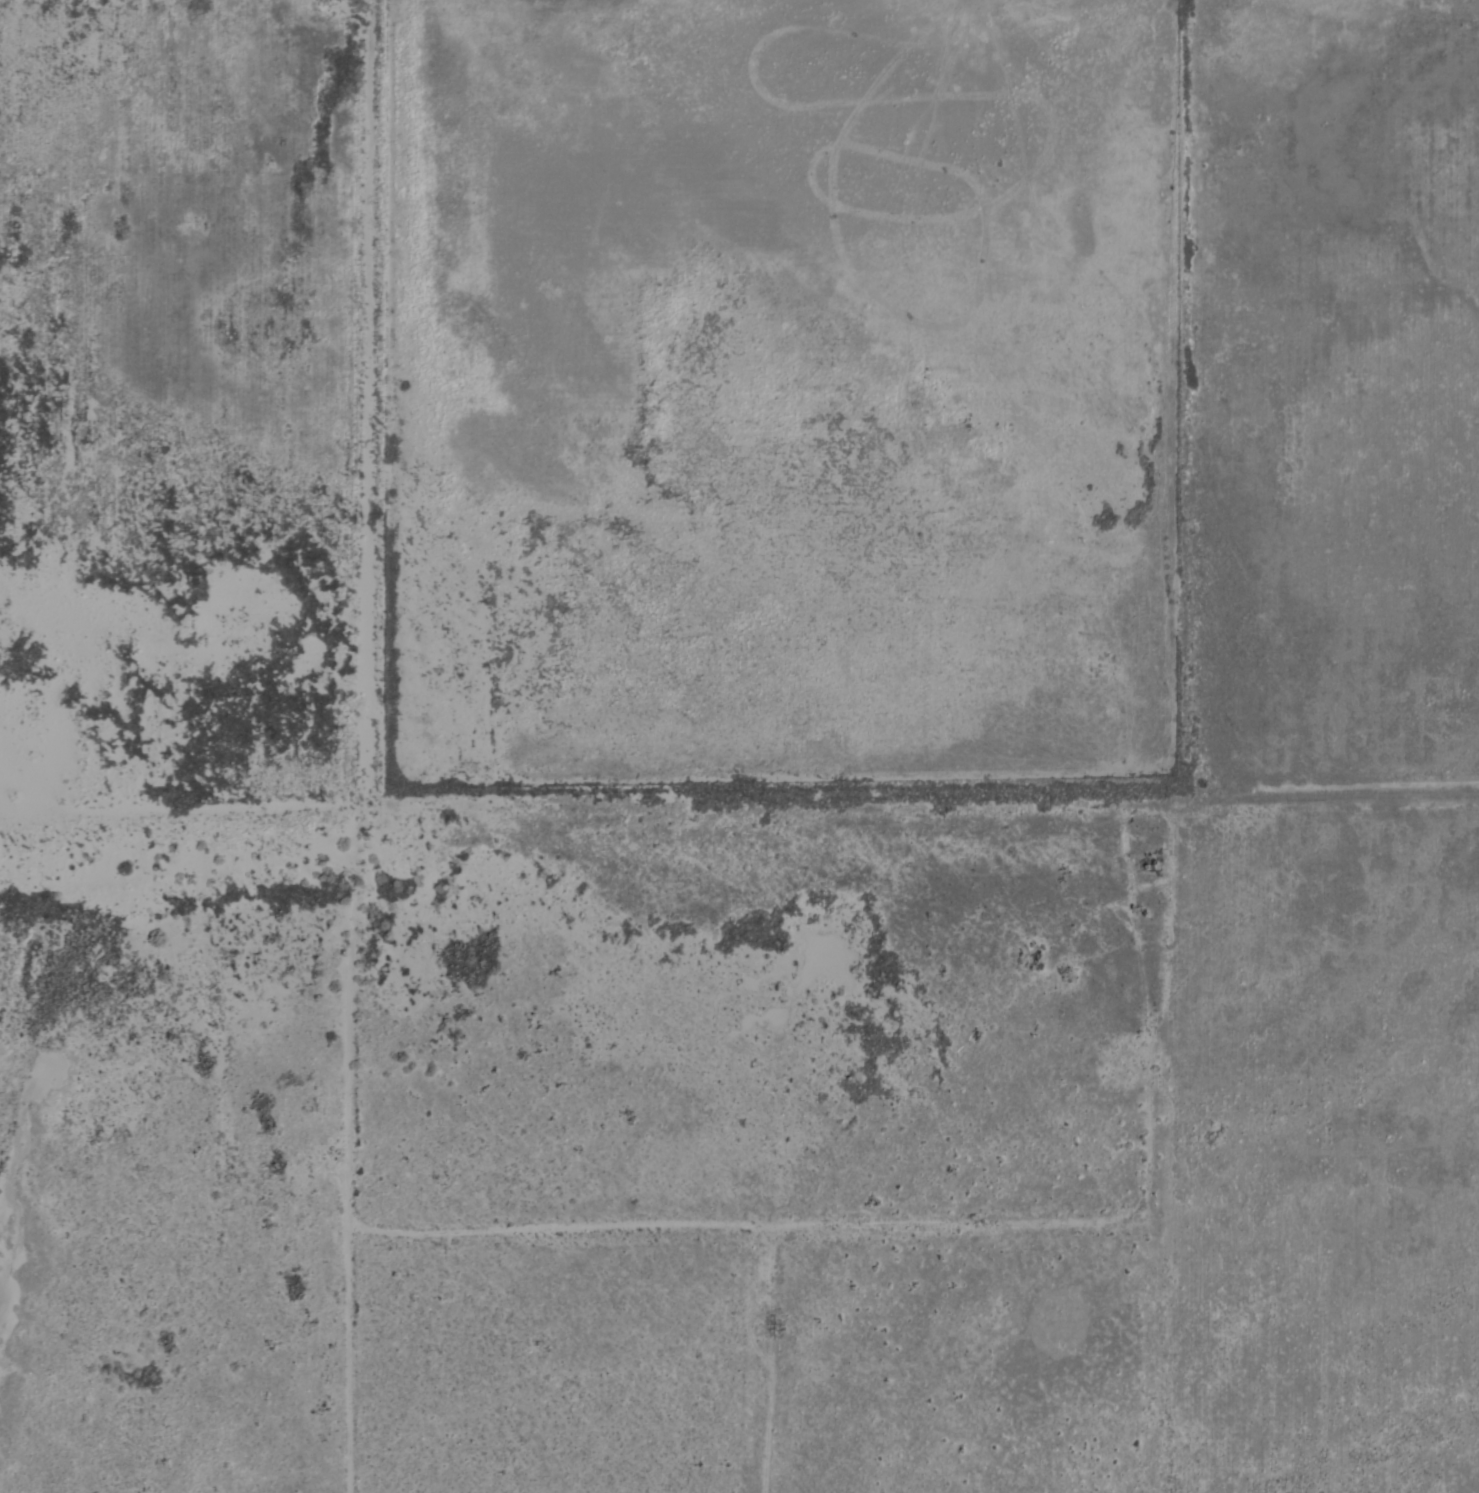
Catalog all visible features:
road: (360, 745)
road: (915, 829)
road: (830, 1246)
road: (771, 1370)

